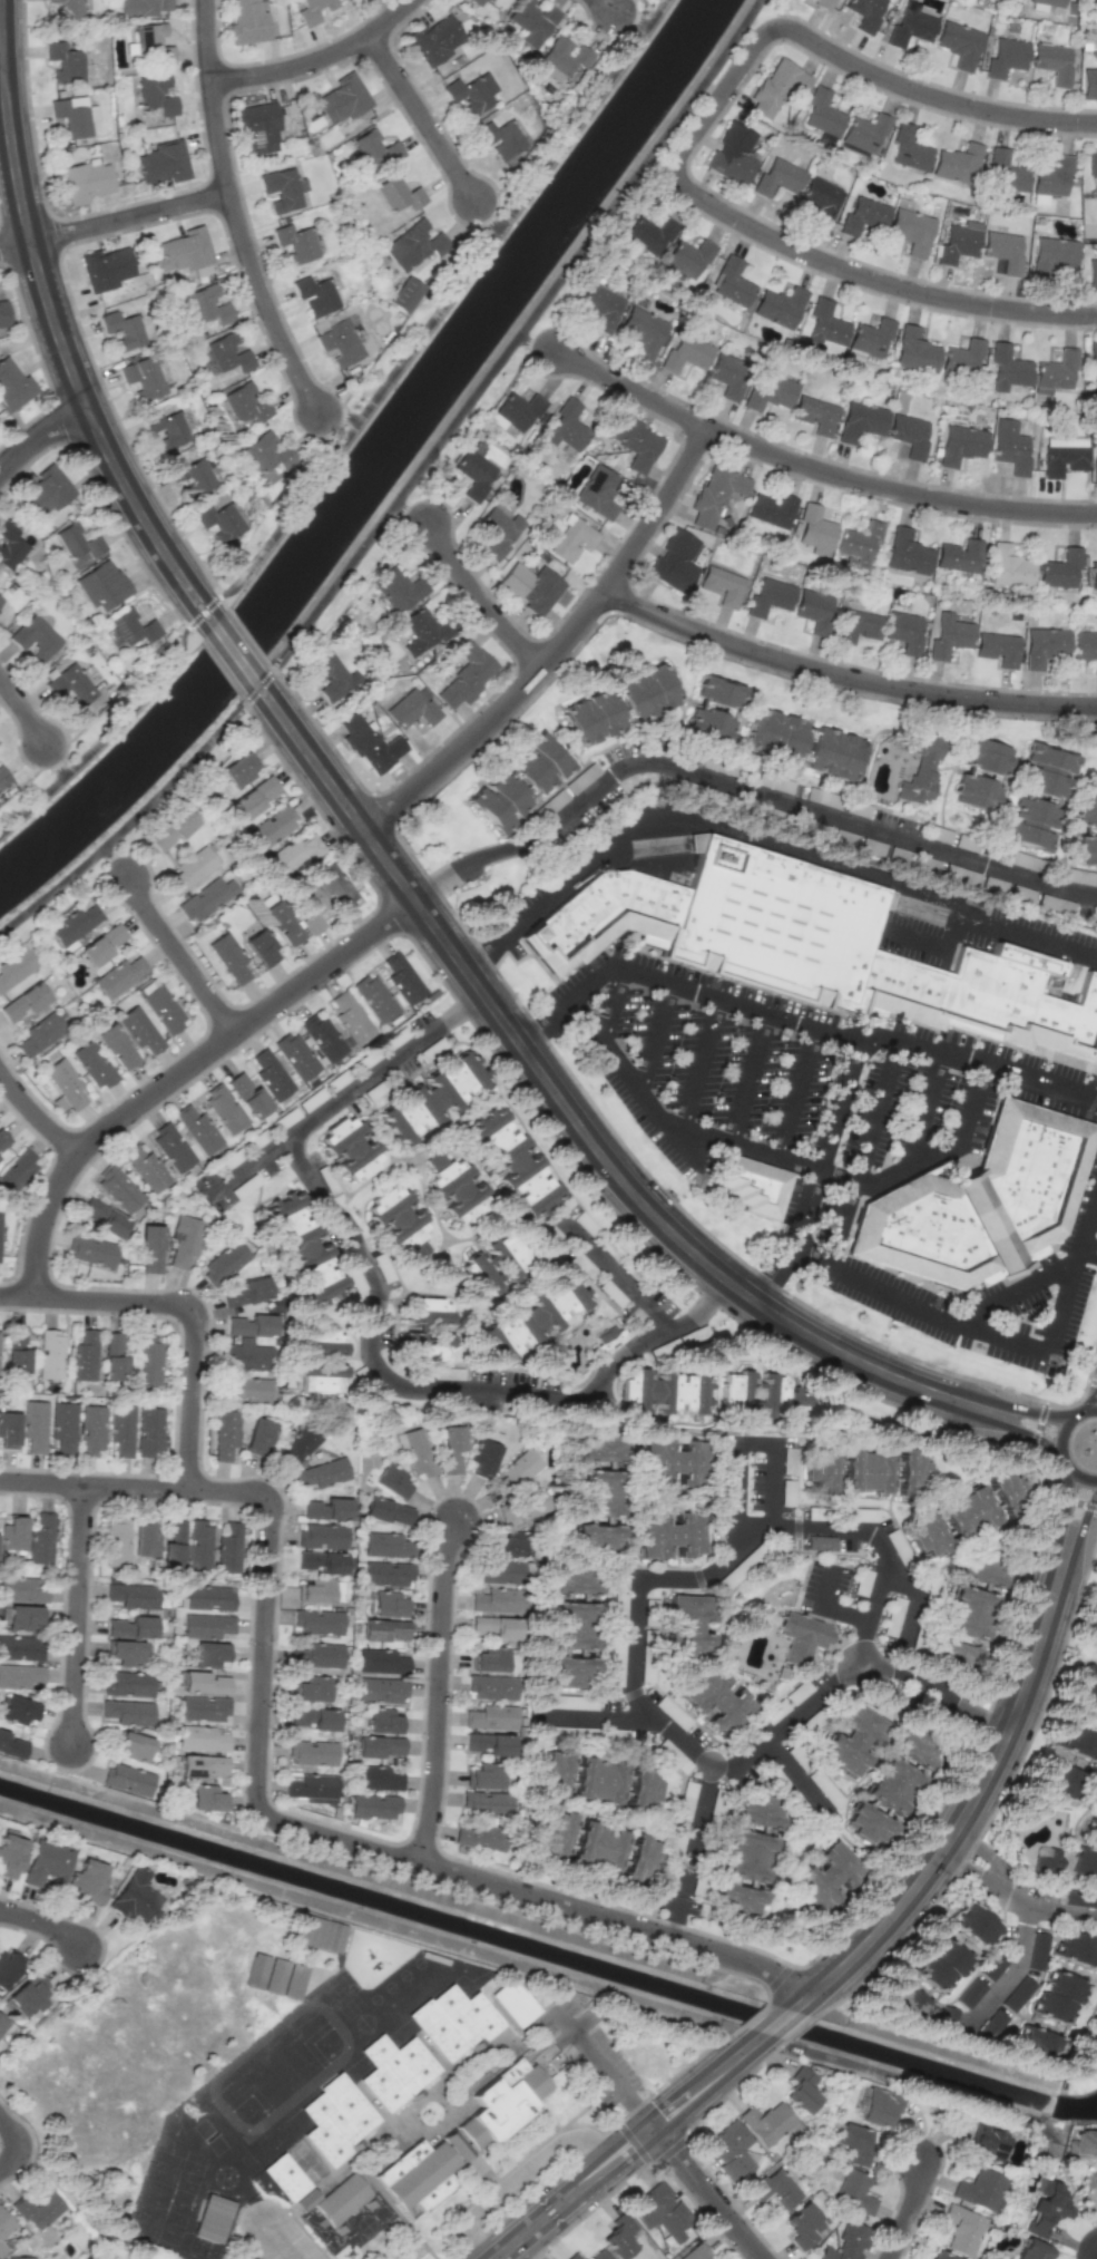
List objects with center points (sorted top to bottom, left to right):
building: (479, 2)
building: (1048, 2)
building: (822, 3)
park: (648, 4)
building: (141, 7)
road: (607, 7)
building: (67, 10)
building: (312, 10)
building: (865, 13)
road: (654, 14)
building: (1096, 17)
road: (633, 18)
building: (531, 21)
building: (247, 22)
building: (910, 28)
building: (435, 39)
building: (959, 43)
building: (153, 45)
building: (1006, 56)
road: (314, 58)
building: (561, 58)
building: (1052, 61)
building: (65, 62)
road: (1, 68)
building: (1089, 84)
building: (777, 86)
road: (713, 89)
building: (156, 94)
building: (470, 94)
building: (342, 99)
building: (822, 113)
building: (74, 115)
road: (421, 118)
building: (258, 128)
building: (864, 134)
building: (500, 139)
road: (686, 144)
building: (909, 149)
building: (378, 150)
building: (733, 154)
building: (1091, 160)
building: (163, 163)
building: (958, 164)
building: (1006, 172)
building: (1051, 175)
building: (778, 177)
building: (85, 181)
building: (283, 188)
building: (399, 194)
road: (226, 197)
building: (821, 198)
road: (487, 216)
building: (863, 216)
road: (129, 217)
building: (911, 231)
building: (649, 233)
building: (295, 243)
road: (17, 244)
building: (413, 244)
building: (957, 244)
building: (1003, 250)
building: (185, 252)
building: (1052, 255)
building: (686, 259)
building: (105, 267)
building: (1091, 273)
building: (731, 282)
building: (404, 294)
building: (315, 295)
building: (208, 305)
building: (603, 305)
building: (780, 306)
building: (3, 312)
road: (59, 329)
building: (825, 329)
building: (123, 330)
building: (643, 330)
building: (870, 337)
building: (344, 339)
road: (538, 343)
building: (686, 352)
building: (914, 352)
building: (227, 353)
building: (962, 357)
building: (1091, 357)
building: (1007, 368)
building: (1055, 372)
building: (147, 376)
building: (727, 376)
building: (13, 384)
building: (768, 392)
building: (243, 405)
building: (815, 415)
building: (861, 421)
building: (567, 426)
building: (166, 429)
building: (909, 435)
road: (42, 438)
building: (634, 441)
road: (334, 442)
building: (961, 445)
building: (1009, 445)
building: (267, 452)
building: (1062, 456)
road: (815, 470)
building: (476, 471)
building: (190, 476)
road: (407, 489)
building: (46, 490)
building: (597, 491)
building: (715, 495)
road: (411, 509)
road: (656, 509)
building: (772, 509)
building: (219, 520)
building: (499, 530)
building: (815, 530)
building: (571, 538)
building: (78, 542)
building: (10, 545)
building: (859, 545)
building: (907, 553)
building: (959, 556)
building: (675, 561)
building: (1008, 566)
building: (1060, 569)
building: (1093, 574)
building: (100, 585)
building: (722, 586)
building: (530, 587)
building: (400, 591)
road: (476, 595)
building: (768, 596)
building: (0, 598)
building: (814, 611)
building: (858, 625)
building: (130, 627)
building: (424, 631)
building: (904, 631)
building: (949, 636)
building: (1044, 646)
building: (1085, 646)
building: (998, 649)
road: (238, 656)
building: (467, 674)
building: (332, 675)
road: (844, 675)
building: (70, 684)
building: (645, 693)
building: (411, 708)
building: (713, 708)
road: (26, 709)
road: (490, 715)
building: (591, 718)
building: (777, 737)
building: (370, 743)
building: (832, 753)
building: (549, 754)
road: (312, 758)
building: (236, 769)
building: (1046, 771)
building: (921, 772)
building: (980, 775)
building: (3, 778)
building: (521, 780)
building: (255, 796)
building: (491, 809)
building: (1085, 811)
building: (1029, 822)
building: (271, 827)
building: (172, 829)
road: (758, 849)
building: (1087, 849)
building: (294, 854)
road: (487, 855)
road: (111, 857)
building: (192, 869)
building: (335, 887)
building: (206, 898)
building: (310, 908)
building: (605, 916)
building: (282, 923)
building: (774, 924)
building: (72, 925)
road: (953, 932)
road: (917, 939)
building: (102, 944)
building: (261, 946)
road: (175, 952)
building: (229, 958)
building: (14, 967)
building: (118, 976)
building: (403, 978)
building: (375, 997)
building: (985, 997)
road: (607, 1001)
building: (22, 1003)
building: (160, 1005)
road: (615, 1007)
building: (350, 1017)
road: (797, 1024)
building: (139, 1030)
road: (649, 1033)
building: (39, 1034)
building: (323, 1038)
road: (658, 1039)
building: (116, 1046)
building: (295, 1055)
road: (694, 1061)
building: (92, 1064)
road: (704, 1064)
building: (271, 1075)
road: (743, 1077)
road: (752, 1079)
building: (65, 1083)
road: (791, 1092)
road: (346, 1093)
road: (799, 1094)
building: (248, 1096)
building: (431, 1099)
road: (930, 1106)
building: (224, 1108)
road: (920, 1108)
road: (35, 1113)
road: (667, 1122)
building: (196, 1128)
building: (3, 1141)
building: (172, 1148)
building: (350, 1148)
road: (947, 1153)
road: (864, 1155)
building: (512, 1161)
building: (146, 1169)
road: (817, 1171)
building: (17, 1172)
road: (836, 1178)
road: (626, 1184)
building: (752, 1185)
building: (454, 1188)
building: (117, 1189)
building: (981, 1201)
building: (0, 1216)
building: (102, 1217)
building: (396, 1217)
building: (297, 1233)
building: (184, 1239)
building: (150, 1248)
building: (90, 1250)
road: (1087, 1250)
building: (224, 1262)
road: (615, 1273)
building: (244, 1292)
building: (324, 1294)
road: (1013, 1294)
road: (183, 1305)
building: (535, 1317)
building: (251, 1325)
building: (419, 1330)
road: (995, 1338)
building: (323, 1343)
building: (16, 1348)
building: (50, 1354)
building: (84, 1356)
building: (114, 1356)
building: (246, 1356)
building: (148, 1362)
building: (320, 1379)
road: (442, 1387)
building: (248, 1390)
building: (664, 1392)
building: (757, 1392)
road: (1089, 1401)
road: (1040, 1412)
road: (1088, 1412)
building: (35, 1425)
building: (62, 1425)
building: (91, 1429)
building: (9, 1430)
building: (120, 1430)
road: (1064, 1430)
road: (1031, 1431)
building: (148, 1432)
building: (225, 1434)
building: (258, 1435)
road: (745, 1443)
building: (297, 1447)
building: (451, 1447)
building: (599, 1448)
building: (417, 1450)
building: (483, 1457)
building: (674, 1461)
building: (518, 1470)
building: (865, 1470)
building: (324, 1472)
building: (820, 1472)
road: (1074, 1472)
building: (912, 1473)
building: (393, 1481)
building: (1005, 1487)
building: (600, 1492)
road: (1070, 1500)
building: (520, 1507)
building: (326, 1509)
building: (388, 1511)
road: (1084, 1515)
building: (951, 1521)
road: (820, 1528)
building: (13, 1533)
building: (669, 1533)
building: (323, 1536)
building: (597, 1537)
building: (41, 1538)
building: (145, 1540)
building: (116, 1544)
building: (199, 1544)
building: (509, 1544)
building: (174, 1545)
building: (388, 1545)
building: (228, 1549)
building: (322, 1561)
building: (980, 1568)
building: (500, 1571)
building: (386, 1572)
building: (576, 1579)
building: (23, 1589)
building: (321, 1591)
building: (133, 1595)
building: (208, 1597)
building: (497, 1600)
building: (388, 1605)
road: (830, 1607)
road: (871, 1610)
building: (969, 1612)
building: (22, 1617)
road: (77, 1617)
building: (319, 1623)
building: (688, 1623)
building: (206, 1625)
building: (574, 1625)
building: (131, 1627)
building: (494, 1627)
building: (385, 1629)
building: (802, 1637)
building: (19, 1647)
building: (125, 1652)
building: (206, 1654)
building: (316, 1656)
building: (491, 1659)
building: (381, 1662)
building: (572, 1671)
building: (20, 1676)
building: (205, 1683)
building: (127, 1684)
building: (492, 1687)
building: (1086, 1687)
building: (311, 1688)
building: (382, 1690)
road: (437, 1692)
building: (716, 1700)
building: (570, 1701)
building: (204, 1708)
road: (805, 1708)
building: (17, 1710)
building: (128, 1712)
road: (594, 1715)
building: (491, 1717)
building: (313, 1718)
building: (384, 1721)
building: (200, 1739)
building: (853, 1740)
building: (1077, 1742)
building: (490, 1743)
building: (134, 1745)
building: (11, 1746)
building: (379, 1746)
building: (312, 1752)
building: (203, 1765)
building: (901, 1771)
building: (556, 1773)
building: (484, 1776)
building: (378, 1778)
building: (127, 1779)
building: (597, 1780)
road: (800, 1780)
building: (1061, 1781)
building: (641, 1786)
building: (311, 1788)
road: (977, 1789)
building: (206, 1798)
building: (484, 1802)
building: (373, 1805)
road: (261, 1810)
road: (699, 1813)
building: (869, 1825)
building: (1094, 1825)
building: (556, 1833)
building: (479, 1837)
building: (753, 1837)
building: (597, 1844)
building: (10, 1856)
building: (639, 1859)
building: (46, 1862)
building: (1047, 1862)
building: (1085, 1864)
building: (825, 1876)
building: (88, 1881)
road: (391, 1882)
road: (1015, 1891)
building: (135, 1896)
building: (737, 1900)
road: (43, 1925)
building: (973, 1925)
building: (321, 1934)
building: (1077, 1949)
building: (1037, 1950)
road: (1017, 1960)
building: (940, 1965)
building: (991, 1966)
building: (9, 1968)
building: (275, 1976)
building: (294, 1980)
building: (969, 1993)
building: (1017, 1994)
building: (28, 1995)
building: (1058, 1997)
building: (513, 2002)
building: (908, 2005)
road: (781, 2018)
building: (947, 2018)
building: (453, 2021)
building: (2, 2025)
building: (989, 2026)
building: (1093, 2042)
building: (1036, 2044)
road: (601, 2068)
building: (395, 2071)
road: (706, 2083)
building: (801, 2090)
building: (506, 2100)
building: (879, 2107)
building: (337, 2119)
building: (767, 2122)
building: (988, 2142)
building: (854, 2143)
road: (27, 2145)
building: (729, 2151)
building: (1085, 2153)
road: (521, 2171)
building: (285, 2178)
building: (415, 2179)
building: (775, 2188)
building: (980, 2189)
building: (853, 2192)
road: (576, 2193)
road: (705, 2194)
building: (341, 2199)
road: (909, 2208)
building: (37, 2210)
road: (265, 2210)
building: (1048, 2210)
building: (660, 2211)
building: (4, 2223)
building: (803, 2226)
building: (962, 2229)
building: (619, 2236)
building: (846, 2242)
building: (1, 2249)
building: (1031, 2250)
building: (695, 2252)
road: (1091, 2252)
building: (598, 2255)
building: (572, 2256)
building: (942, 2256)

